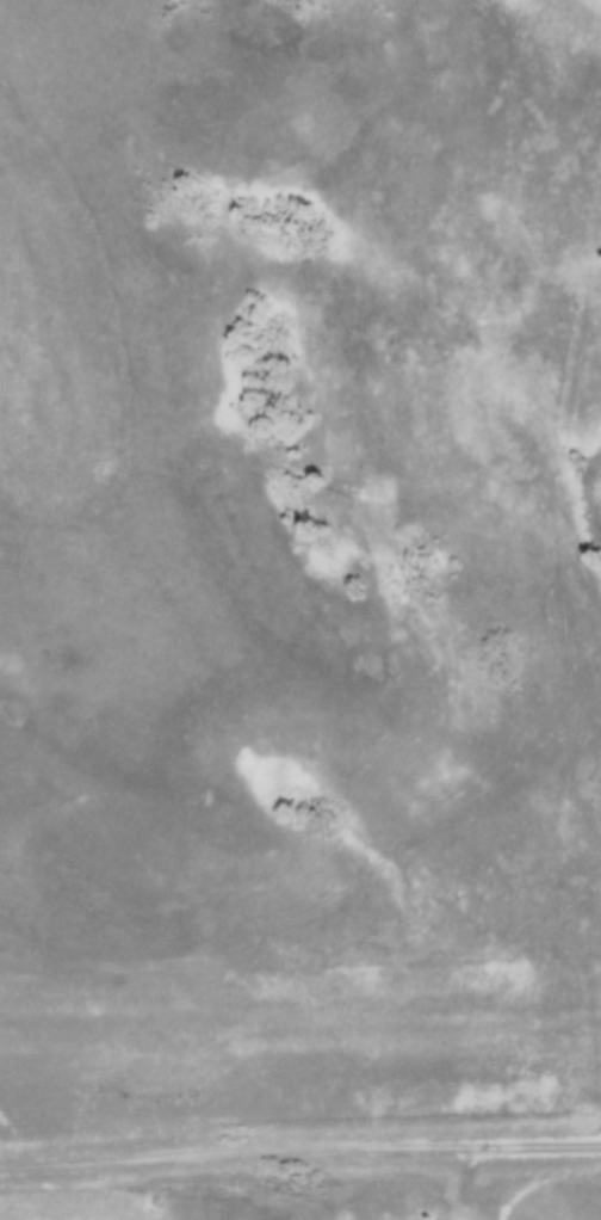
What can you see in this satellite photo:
road: (299, 1152)
road: (465, 1185)

